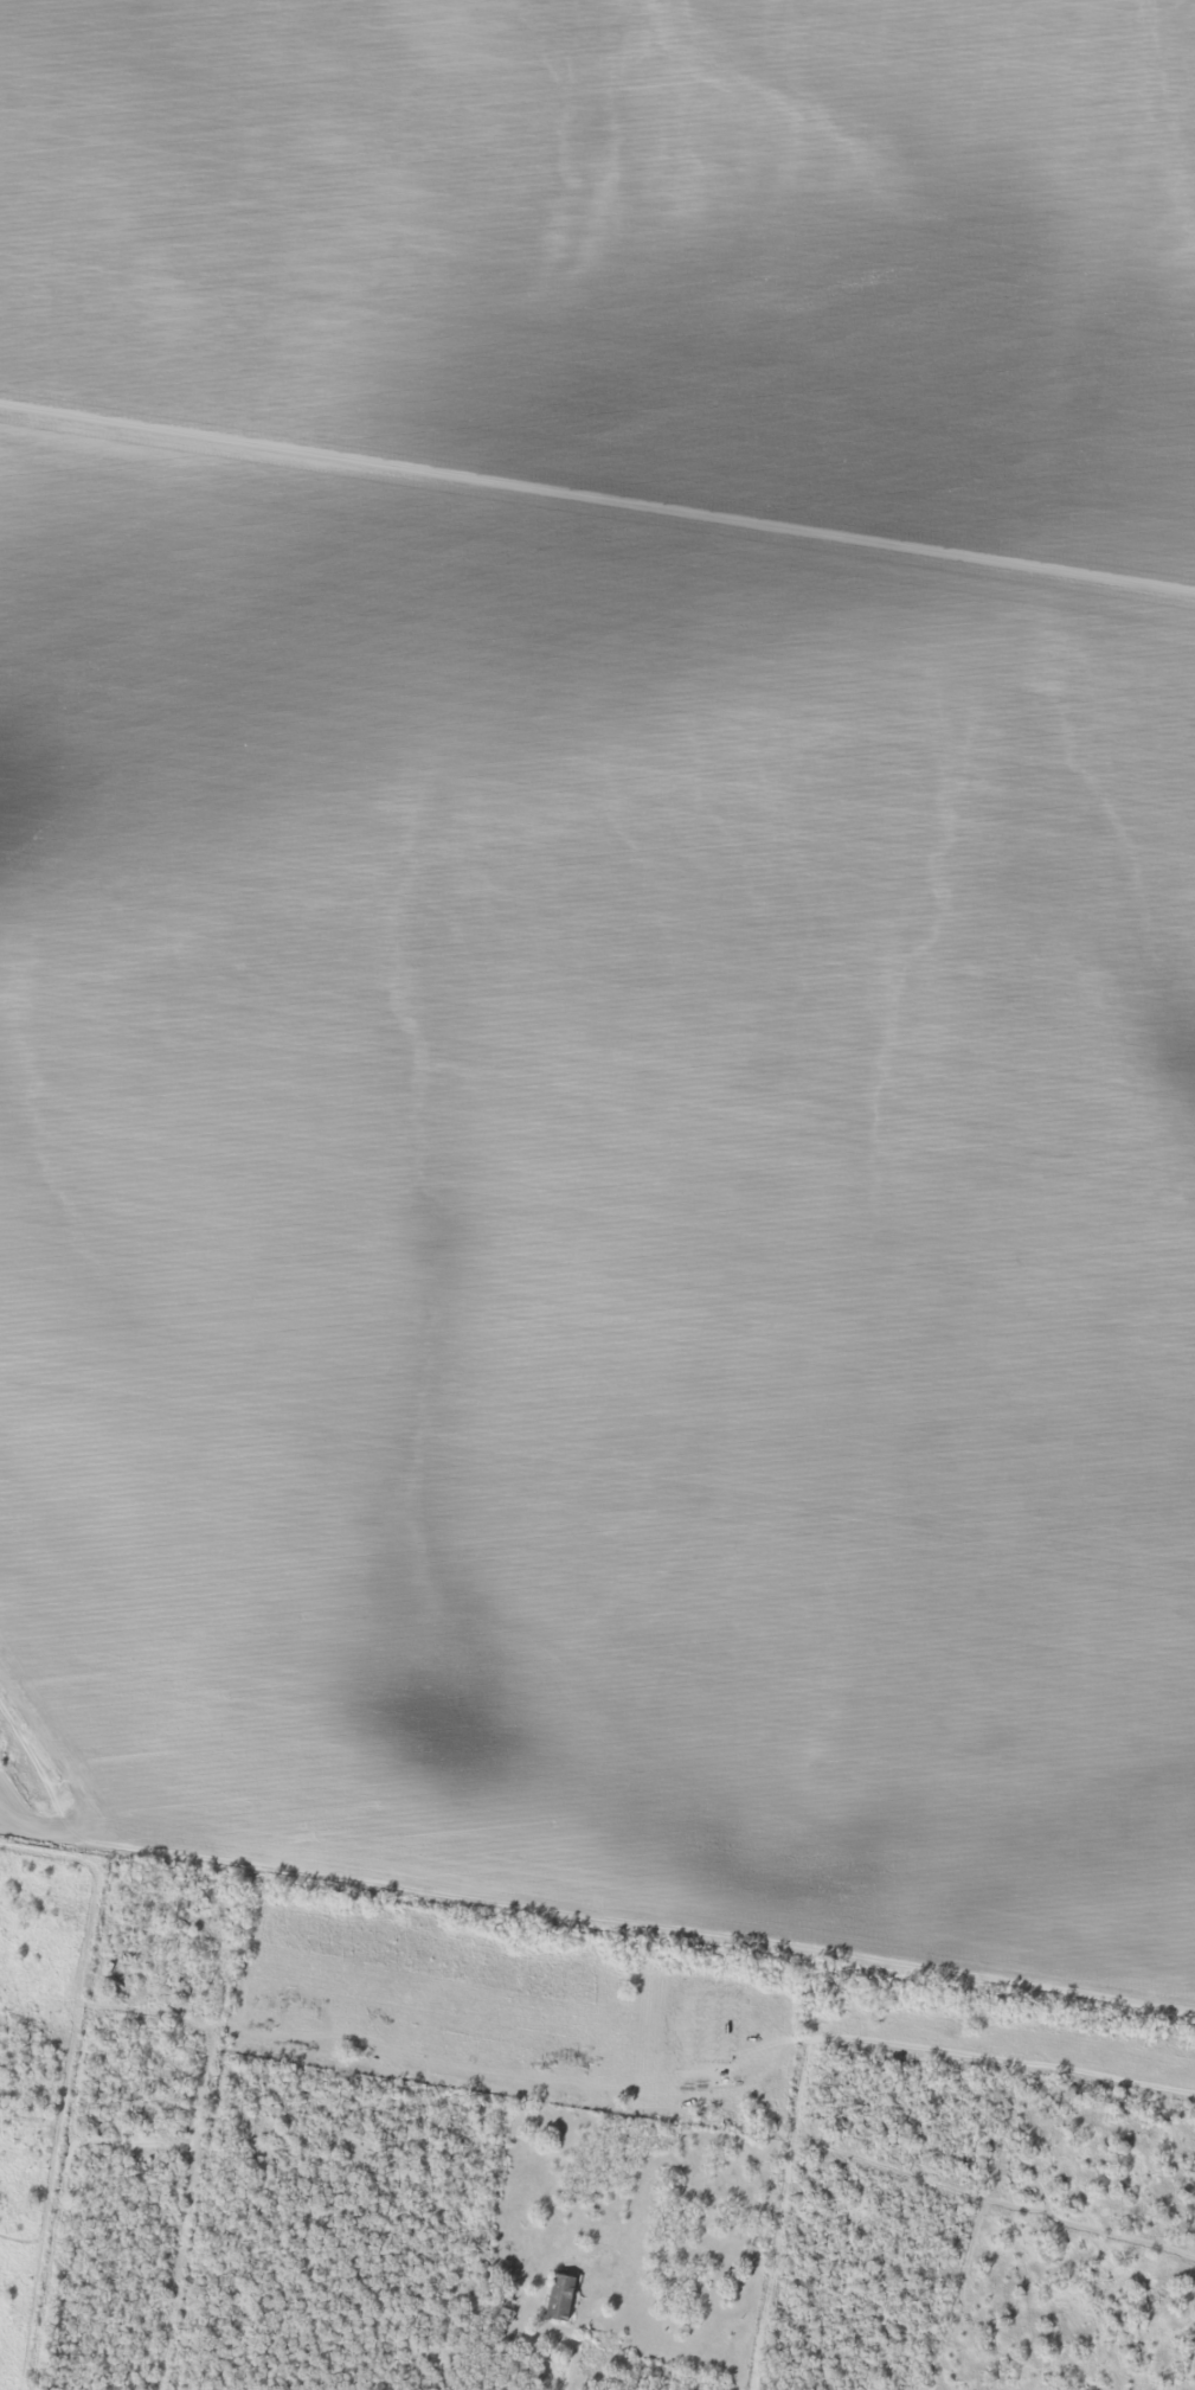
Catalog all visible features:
building: (559, 2298)

